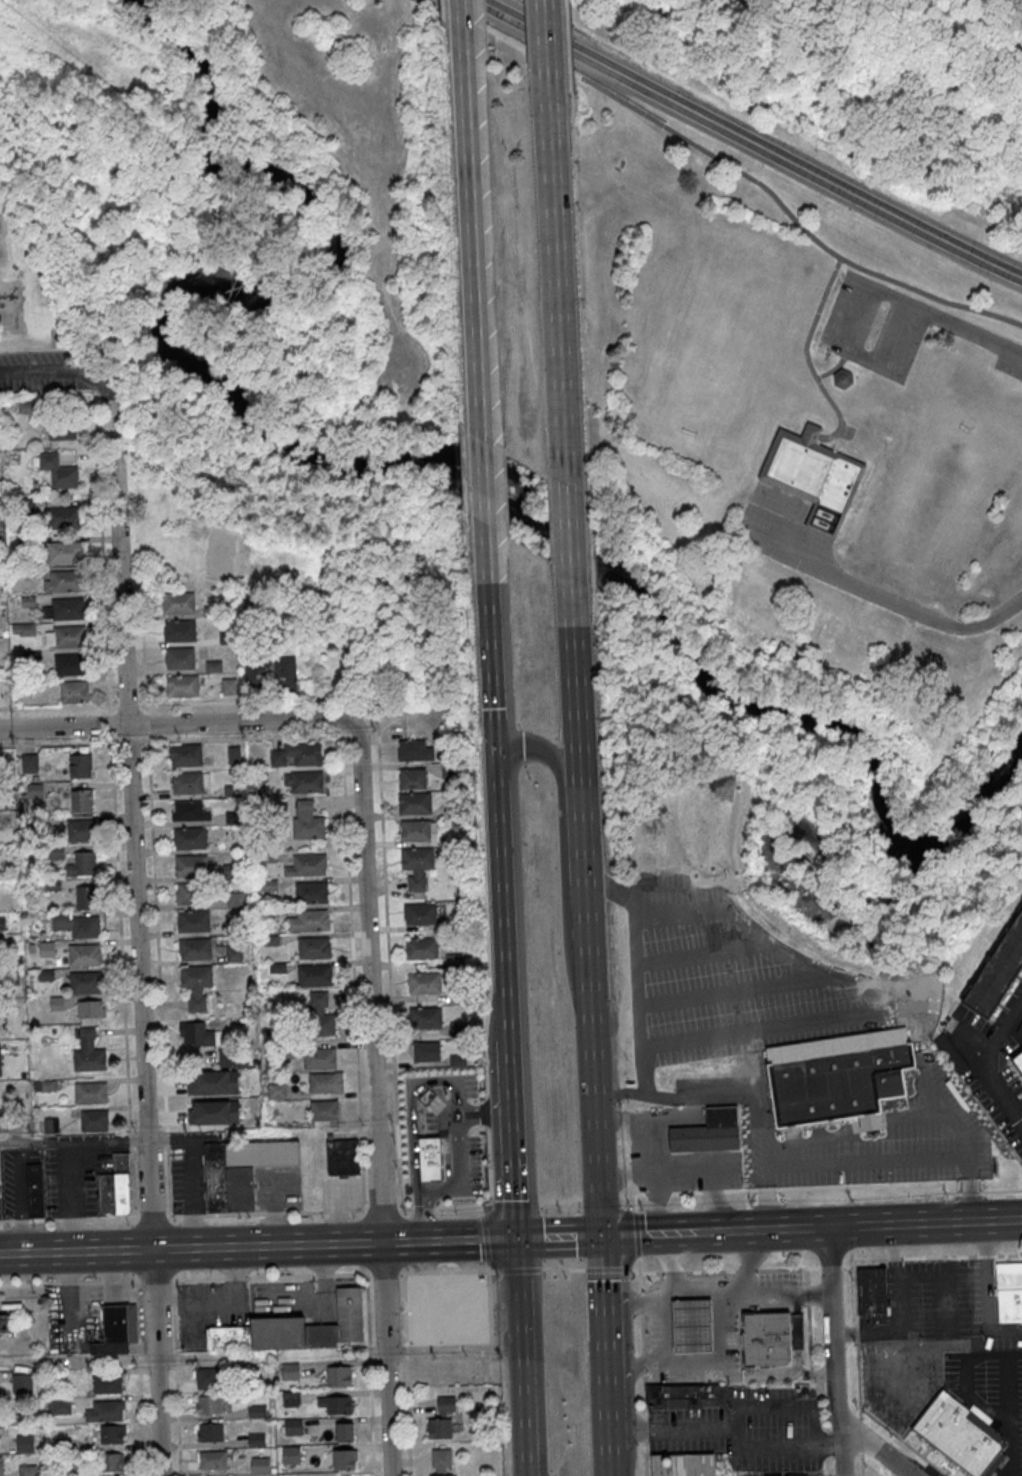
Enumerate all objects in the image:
road: (461, 29)
road: (545, 48)
road: (140, 120)
road: (747, 141)
road: (722, 161)
road: (471, 247)
road: (556, 283)
park: (373, 297)
parking lot: (873, 326)
road: (968, 330)
road: (838, 345)
park: (729, 354)
road: (807, 358)
parking lot: (1010, 359)
road: (837, 367)
road: (64, 371)
building: (844, 379)
building: (61, 430)
river: (394, 461)
building: (58, 470)
building: (814, 475)
road: (484, 507)
building: (63, 517)
park: (812, 528)
road: (568, 547)
building: (63, 552)
road: (102, 553)
building: (63, 581)
road: (885, 597)
building: (178, 601)
building: (64, 609)
building: (23, 629)
building: (179, 629)
building: (65, 636)
road: (143, 654)
building: (180, 657)
building: (69, 664)
building: (213, 666)
building: (272, 673)
road: (492, 677)
building: (181, 685)
building: (73, 691)
road: (177, 723)
road: (73, 743)
building: (415, 750)
building: (234, 754)
building: (296, 754)
building: (186, 755)
building: (29, 763)
building: (80, 766)
traffic signals: (498, 774)
building: (413, 778)
building: (307, 781)
building: (188, 782)
road: (343, 784)
building: (81, 800)
building: (415, 802)
building: (188, 810)
road: (581, 812)
building: (309, 827)
building: (416, 829)
building: (79, 830)
building: (189, 838)
road: (562, 844)
road: (383, 847)
building: (417, 858)
building: (82, 864)
building: (191, 865)
building: (308, 865)
building: (311, 891)
building: (194, 893)
building: (85, 896)
building: (236, 898)
road: (503, 905)
building: (420, 913)
building: (313, 919)
building: (193, 920)
building: (78, 924)
road: (137, 935)
building: (712, 941)
building: (313, 947)
building: (195, 948)
building: (421, 948)
building: (47, 949)
building: (234, 953)
building: (84, 954)
road: (698, 954)
road: (121, 960)
building: (455, 960)
building: (999, 970)
building: (196, 975)
building: (313, 975)
road: (158, 978)
building: (85, 982)
building: (423, 982)
road: (740, 992)
building: (324, 1000)
building: (88, 1009)
building: (425, 1017)
road: (859, 1019)
building: (319, 1026)
building: (201, 1035)
building: (425, 1052)
building: (951, 1053)
building: (233, 1058)
building: (319, 1058)
building: (89, 1059)
road: (978, 1059)
building: (1019, 1059)
building: (323, 1081)
building: (828, 1081)
building: (215, 1082)
building: (277, 1090)
building: (90, 1092)
road: (374, 1099)
building: (435, 1105)
building: (324, 1110)
building: (214, 1112)
road: (595, 1117)
building: (94, 1119)
building: (708, 1131)
road: (512, 1137)
road: (73, 1139)
road: (641, 1150)
building: (343, 1157)
building: (429, 1160)
road: (458, 1164)
parking lot: (187, 1168)
building: (241, 1170)
road: (701, 1174)
parking lot: (56, 1178)
building: (0, 1185)
building: (115, 1187)
parking lot: (278, 1188)
building: (35, 1189)
road: (655, 1201)
road: (242, 1213)
road: (926, 1223)
road: (806, 1228)
road: (729, 1230)
road: (639, 1233)
traffic signals: (602, 1235)
road: (559, 1236)
traffic signals: (516, 1238)
road: (333, 1242)
road: (853, 1243)
road: (805, 1248)
road: (76, 1250)
road: (517, 1255)
road: (507, 1270)
road: (833, 1280)
building: (872, 1291)
building: (1009, 1291)
road: (518, 1292)
road: (605, 1300)
parking lot: (249, 1305)
building: (691, 1323)
road: (808, 1324)
building: (312, 1326)
building: (117, 1329)
building: (772, 1340)
road: (77, 1359)
building: (290, 1371)
road: (858, 1371)
road: (369, 1374)
road: (404, 1374)
building: (339, 1375)
road: (642, 1375)
road: (176, 1377)
road: (139, 1378)
building: (208, 1378)
building: (22, 1383)
building: (106, 1384)
road: (539, 1391)
road: (522, 1393)
building: (683, 1398)
building: (291, 1399)
building: (209, 1404)
building: (336, 1404)
road: (834, 1404)
road: (786, 1407)
road: (609, 1408)
building: (105, 1411)
building: (257, 1411)
building: (443, 1419)
building: (293, 1426)
road: (733, 1428)
building: (345, 1431)
building: (211, 1432)
building: (112, 1434)
building: (959, 1435)
road: (904, 1440)
building: (24, 1443)
road: (874, 1447)
building: (291, 1455)
building: (212, 1459)
building: (344, 1459)
building: (112, 1462)
building: (442, 1462)
road: (611, 1463)
building: (260, 1464)
building: (683, 1464)
building: (0, 1466)
road: (871, 1468)
building: (27, 1470)

